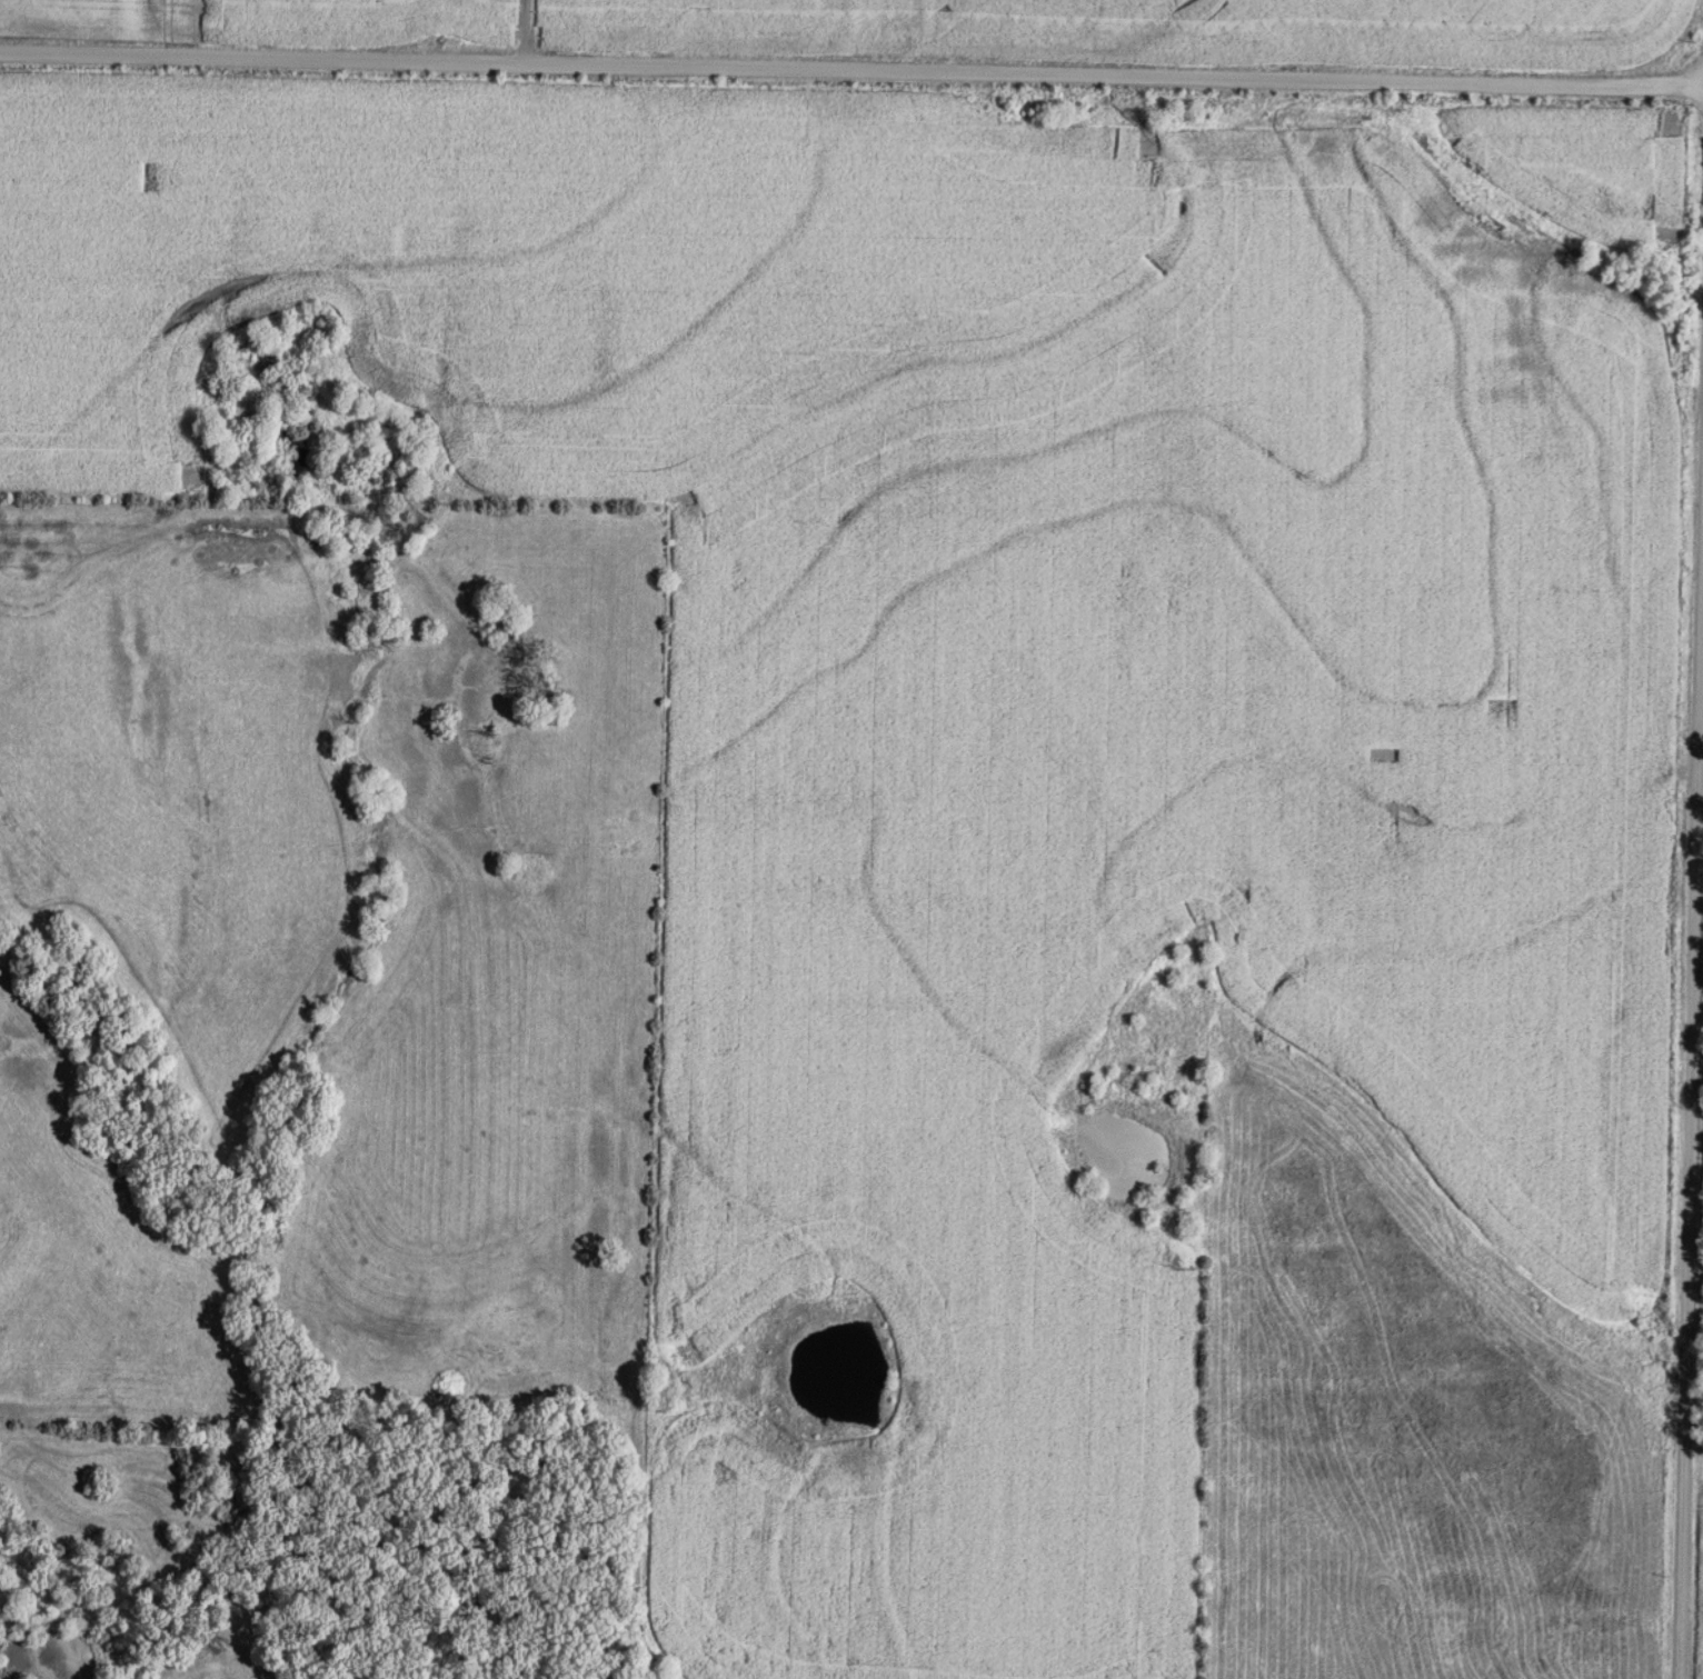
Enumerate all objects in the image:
road: (852, 67)
road: (1687, 1122)

